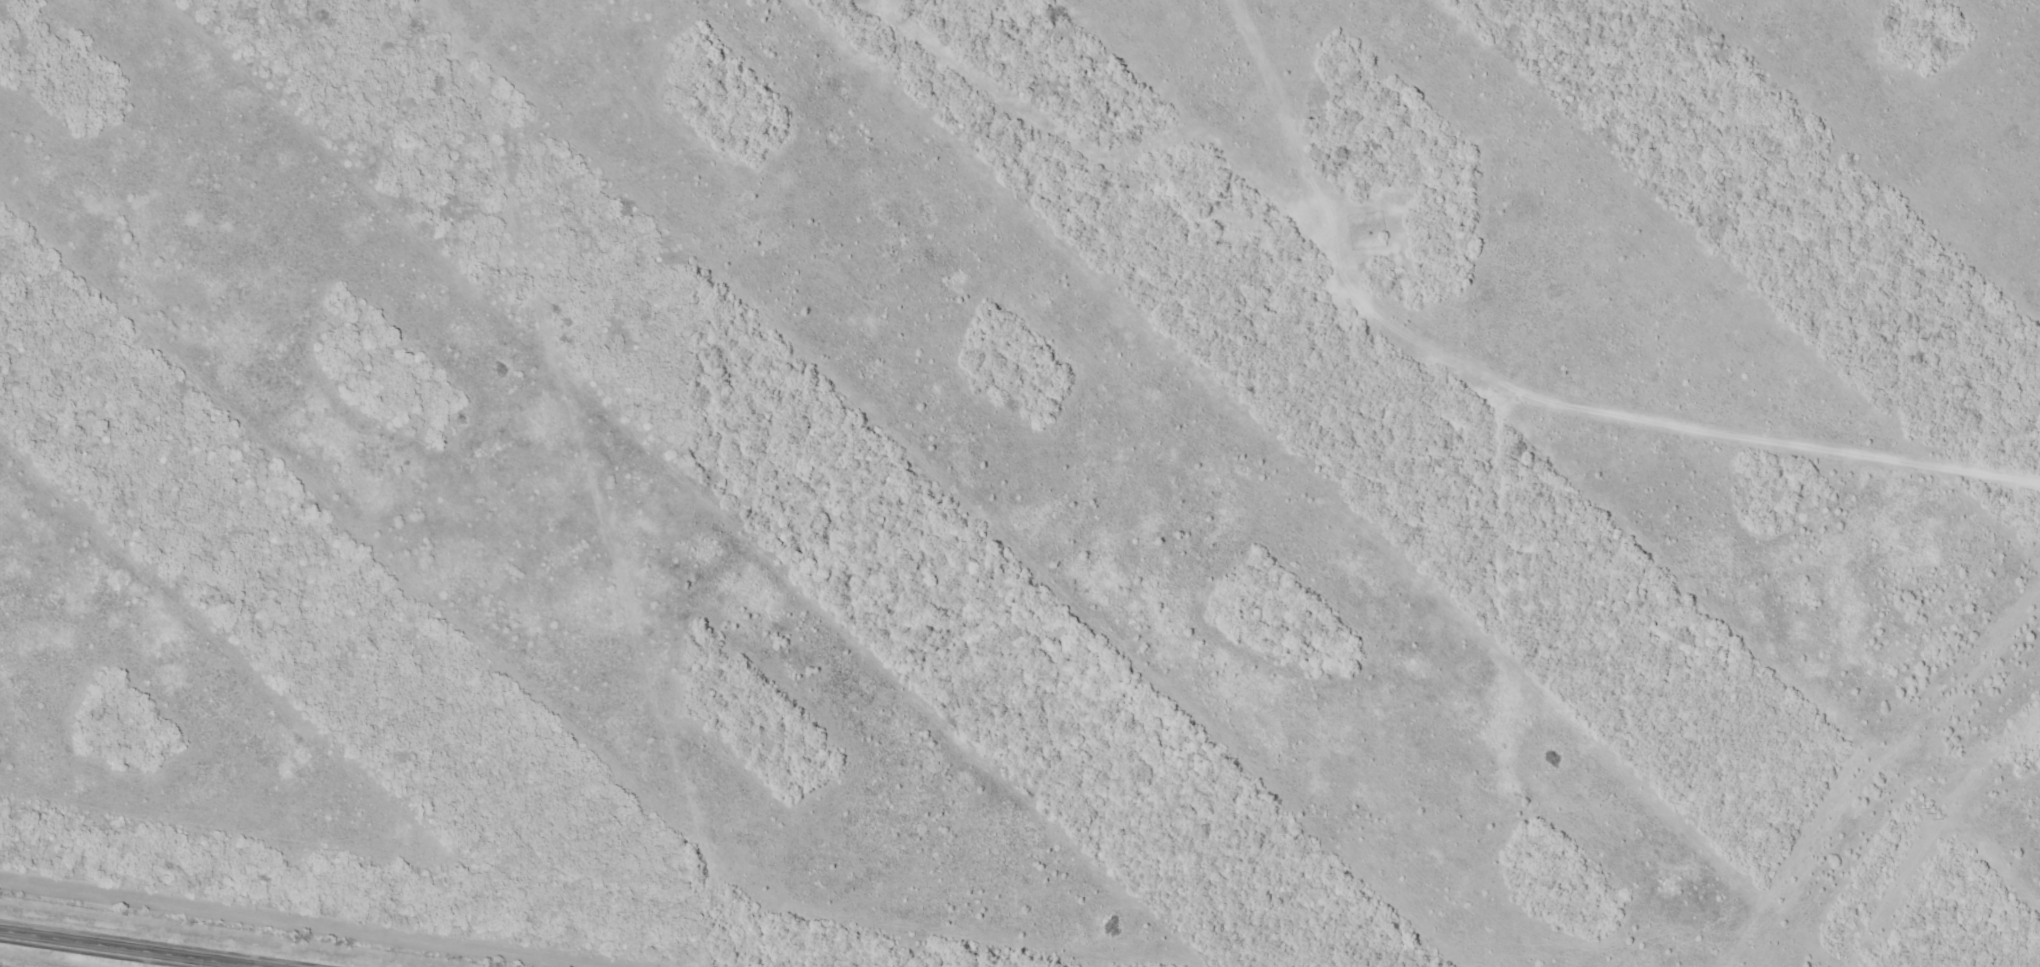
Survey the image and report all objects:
power tower: (1940, 814)
road: (128, 948)

